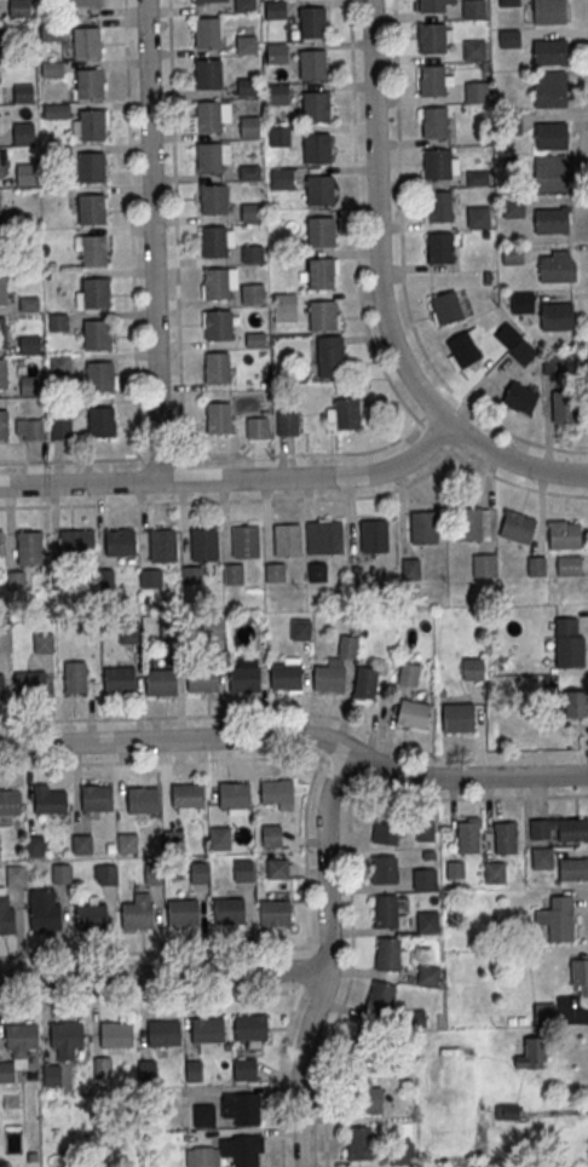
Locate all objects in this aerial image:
building: (211, 1)
building: (82, 2)
building: (508, 4)
building: (431, 5)
building: (244, 6)
building: (472, 8)
building: (275, 11)
building: (548, 11)
road: (587, 11)
building: (312, 22)
building: (207, 34)
building: (432, 38)
building: (508, 38)
building: (86, 41)
building: (246, 46)
building: (474, 50)
building: (549, 52)
building: (276, 54)
building: (311, 64)
building: (50, 68)
building: (207, 75)
building: (431, 80)
building: (90, 82)
building: (549, 84)
building: (247, 88)
building: (475, 91)
building: (22, 92)
building: (278, 96)
building: (315, 105)
building: (207, 117)
building: (434, 121)
building: (92, 123)
building: (249, 128)
building: (22, 132)
building: (550, 134)
building: (279, 138)
building: (316, 148)
building: (208, 160)
building: (437, 163)
building: (91, 167)
building: (549, 172)
building: (27, 173)
building: (249, 173)
building: (477, 178)
building: (281, 180)
building: (318, 189)
building: (213, 201)
building: (438, 205)
building: (91, 208)
building: (250, 214)
building: (477, 215)
building: (552, 219)
building: (321, 231)
road: (154, 240)
building: (213, 240)
building: (439, 247)
building: (0, 248)
building: (92, 249)
building: (512, 253)
building: (252, 255)
building: (555, 265)
building: (321, 274)
building: (214, 282)
building: (2, 291)
building: (96, 292)
building: (253, 293)
road: (379, 298)
building: (521, 301)
building: (29, 303)
building: (284, 304)
building: (445, 307)
building: (322, 315)
building: (557, 315)
building: (57, 321)
building: (218, 323)
building: (2, 332)
building: (97, 334)
building: (255, 341)
building: (28, 343)
building: (514, 343)
building: (463, 347)
building: (328, 357)
building: (58, 363)
building: (553, 363)
building: (215, 366)
building: (2, 373)
building: (99, 375)
building: (30, 385)
building: (519, 397)
building: (565, 407)
building: (345, 413)
building: (218, 416)
road: (422, 418)
building: (60, 421)
building: (100, 421)
building: (286, 422)
building: (2, 424)
building: (258, 427)
building: (29, 429)
road: (513, 436)
road: (305, 455)
road: (158, 459)
road: (69, 461)
road: (234, 478)
road: (515, 483)
road: (254, 501)
building: (474, 523)
building: (423, 527)
building: (517, 527)
building: (563, 534)
building: (374, 535)
building: (321, 537)
building: (287, 539)
building: (244, 540)
building: (122, 541)
building: (0, 542)
building: (203, 544)
building: (71, 545)
building: (162, 545)
building: (28, 547)
building: (484, 564)
building: (569, 564)
building: (536, 565)
building: (410, 568)
building: (275, 571)
building: (317, 571)
building: (191, 574)
building: (234, 574)
building: (150, 577)
building: (166, 628)
building: (212, 628)
building: (300, 628)
building: (129, 633)
building: (2, 640)
building: (42, 642)
building: (569, 642)
building: (473, 663)
building: (334, 667)
building: (409, 673)
building: (286, 674)
building: (75, 677)
building: (116, 678)
building: (202, 678)
building: (244, 678)
building: (160, 682)
building: (29, 683)
building: (365, 683)
building: (1, 685)
building: (576, 703)
building: (413, 713)
building: (459, 717)
road: (149, 718)
road: (298, 736)
building: (276, 791)
building: (188, 794)
building: (235, 794)
building: (97, 797)
building: (50, 798)
building: (143, 798)
building: (10, 801)
building: (385, 829)
building: (425, 830)
building: (271, 834)
building: (467, 834)
building: (505, 837)
building: (219, 838)
building: (127, 841)
building: (81, 843)
building: (35, 845)
building: (542, 857)
building: (277, 868)
building: (243, 869)
building: (384, 869)
building: (455, 869)
building: (198, 872)
building: (494, 872)
building: (60, 873)
building: (152, 873)
building: (104, 874)
building: (16, 875)
building: (425, 878)
building: (388, 910)
building: (229, 913)
building: (181, 914)
building: (275, 915)
building: (137, 916)
building: (557, 918)
building: (45, 919)
building: (91, 919)
building: (427, 921)
building: (6, 922)
building: (390, 954)
road: (327, 958)
road: (306, 965)
road: (162, 973)
building: (427, 975)
building: (580, 975)
building: (380, 998)
building: (543, 1012)
building: (249, 1027)
building: (207, 1030)
building: (163, 1033)
building: (65, 1034)
building: (116, 1034)
building: (21, 1036)
building: (532, 1053)
building: (102, 1068)
building: (148, 1070)
building: (194, 1070)
building: (244, 1070)
building: (7, 1075)
building: (53, 1075)
building: (369, 1097)
building: (242, 1106)
building: (203, 1115)
building: (359, 1142)
building: (243, 1149)
building: (402, 1152)
building: (202, 1157)
building: (570, 1166)

